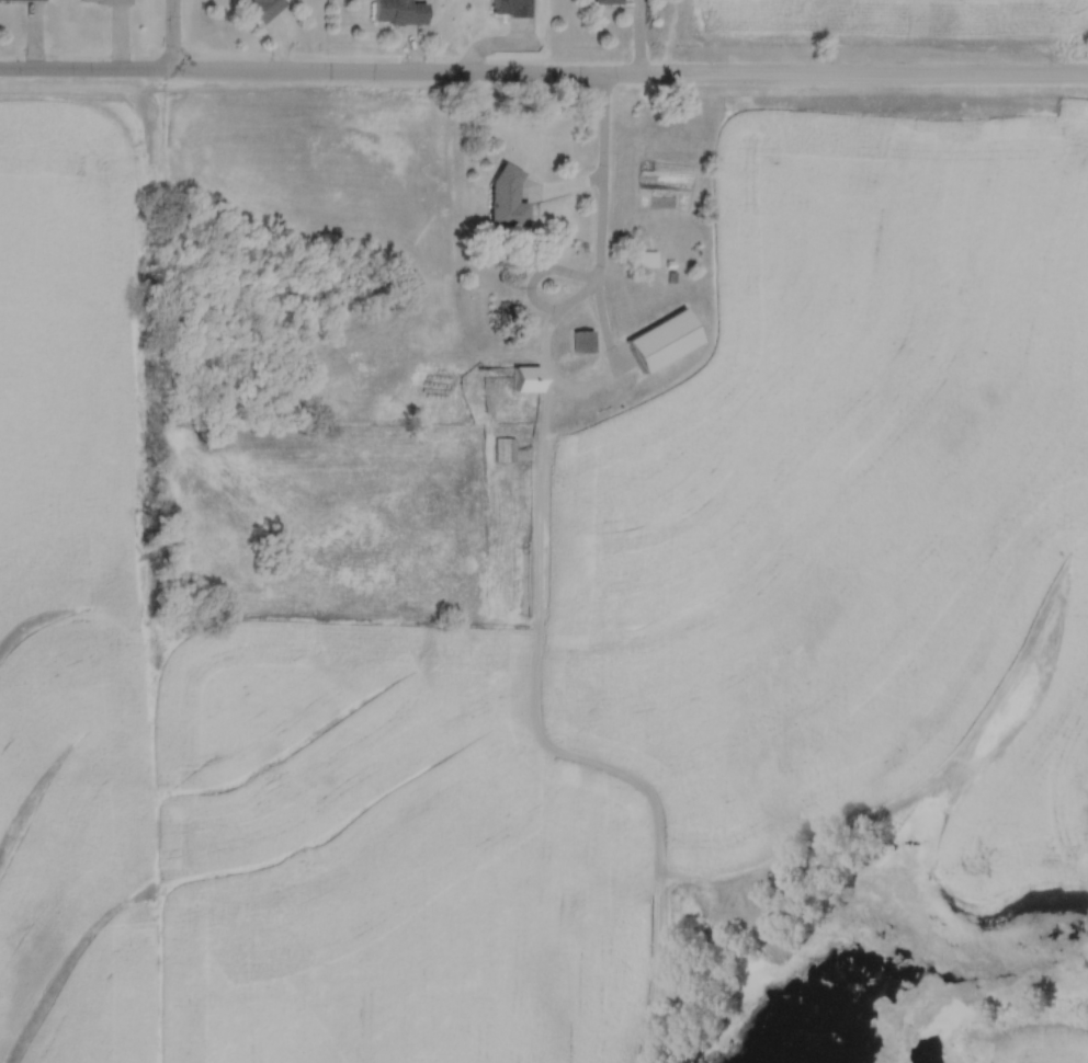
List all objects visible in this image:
building: (22, 0)
building: (105, 1)
building: (609, 2)
building: (265, 8)
building: (509, 8)
building: (399, 12)
road: (170, 34)
road: (670, 36)
road: (333, 70)
road: (877, 72)
road: (602, 152)
building: (507, 199)
building: (664, 339)
building: (580, 343)
building: (528, 381)
building: (505, 450)

